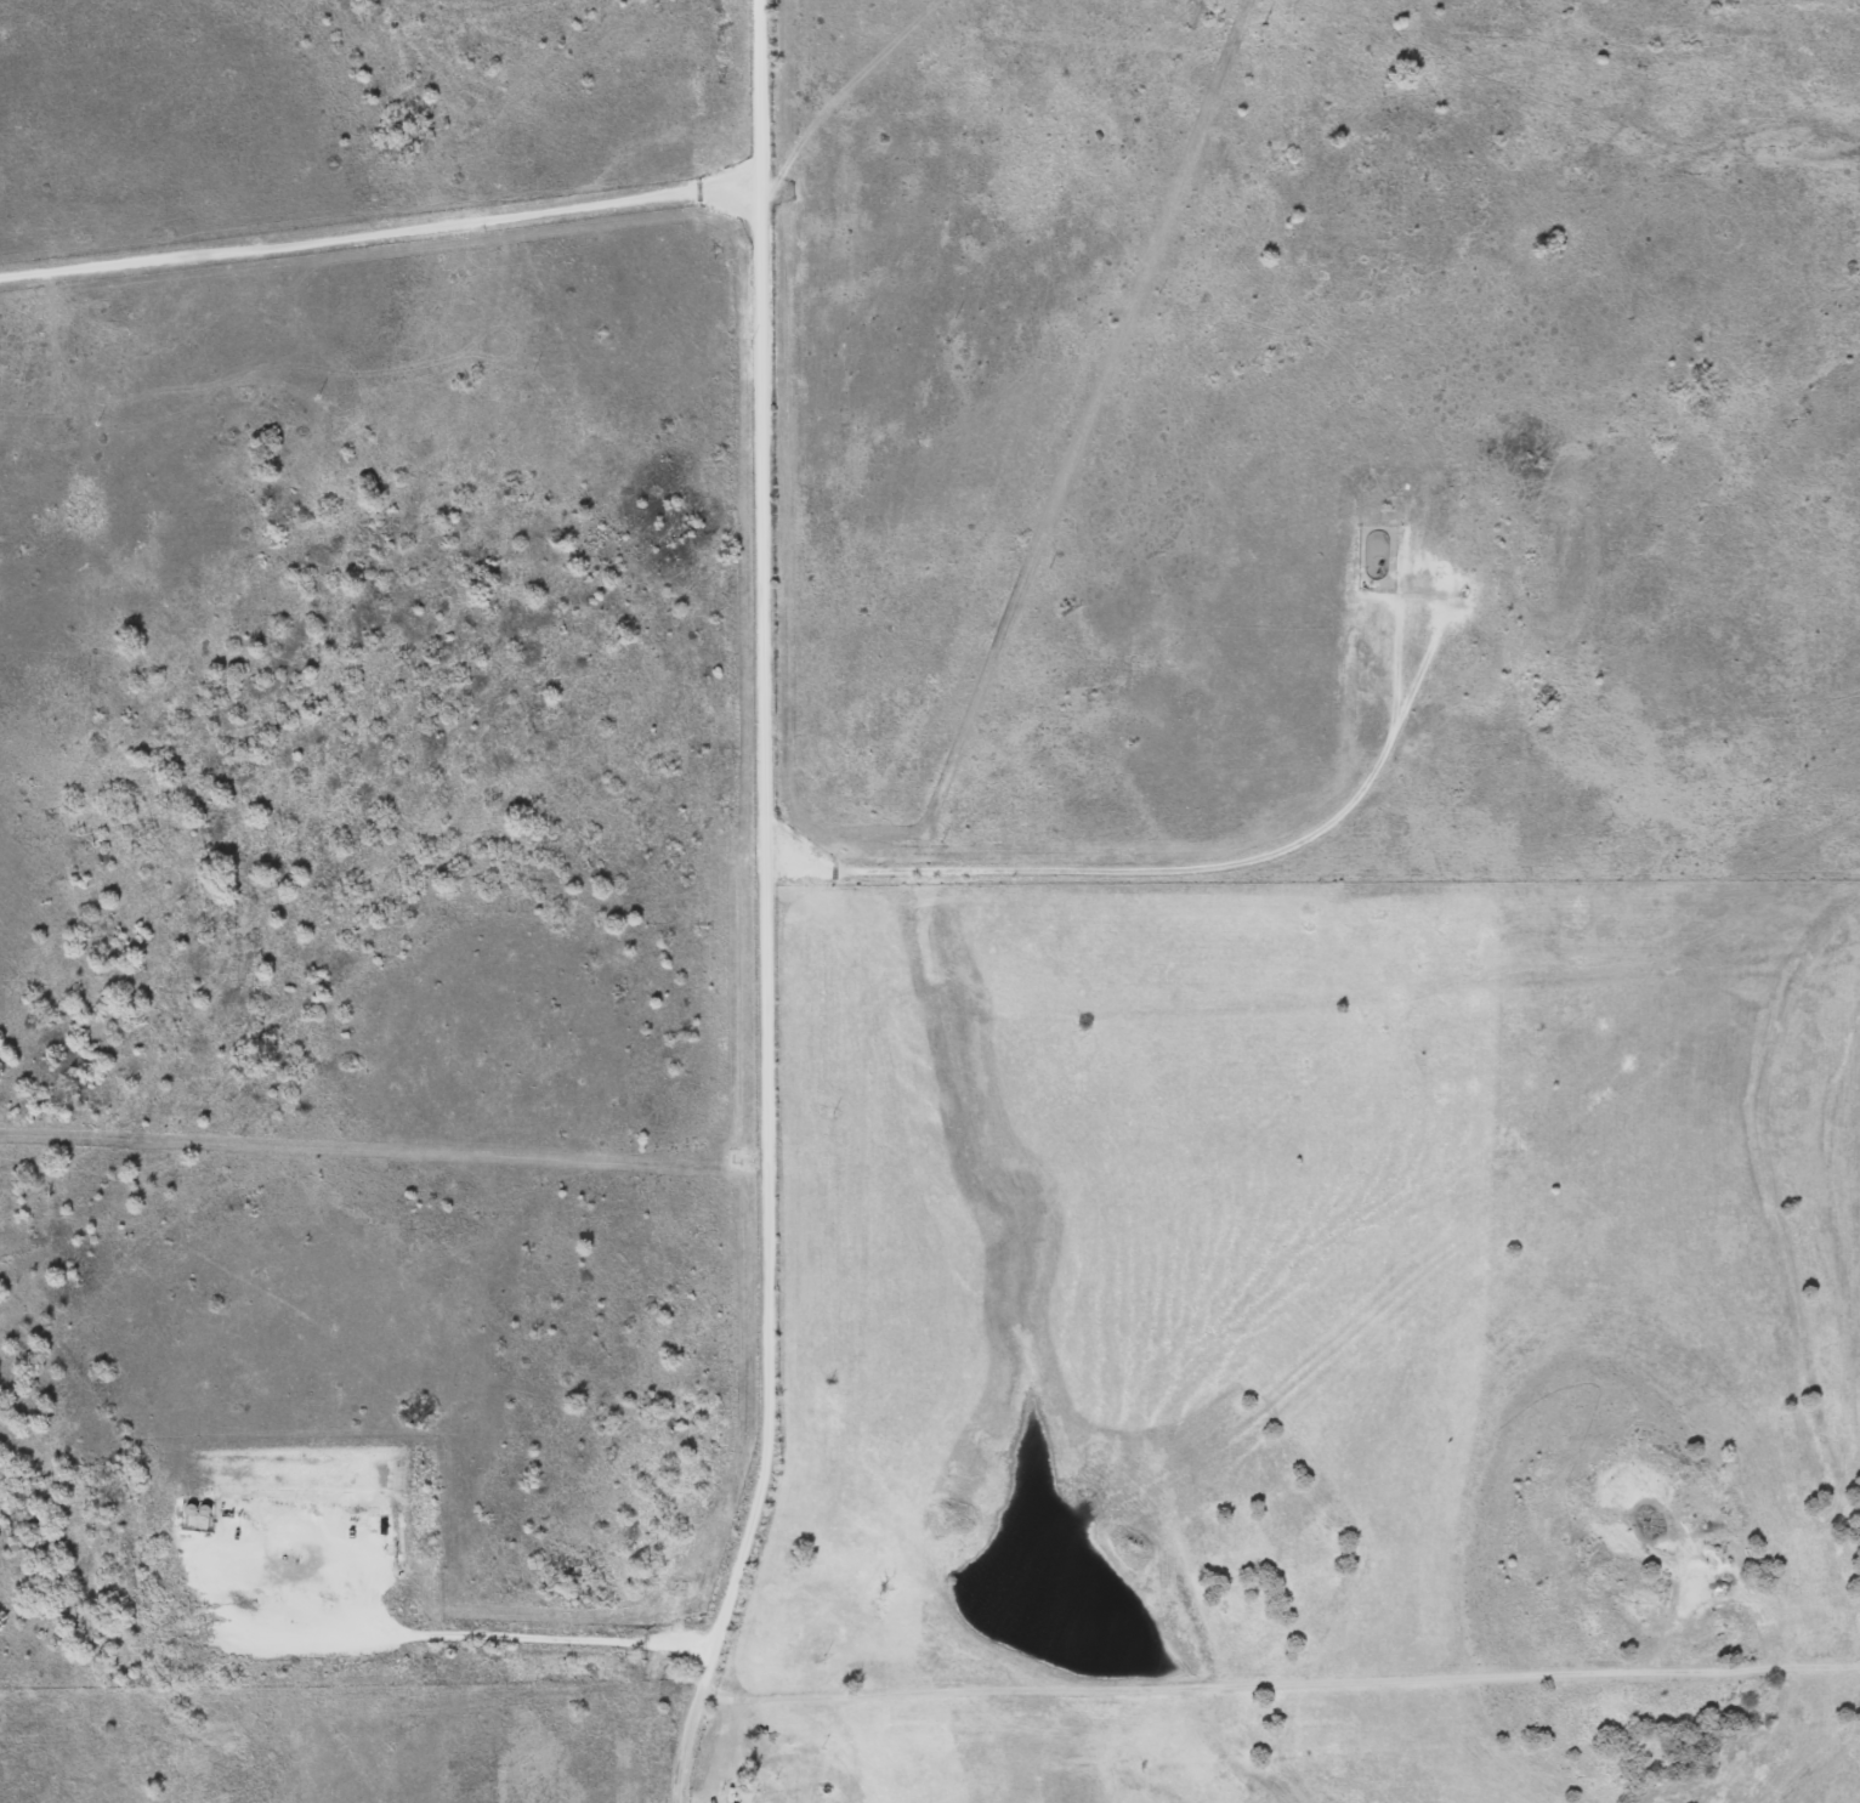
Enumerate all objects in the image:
road: (379, 236)
road: (23, 257)
road: (762, 907)
road: (1319, 1000)
building: (195, 1519)
road: (531, 1635)
road: (1274, 1685)

